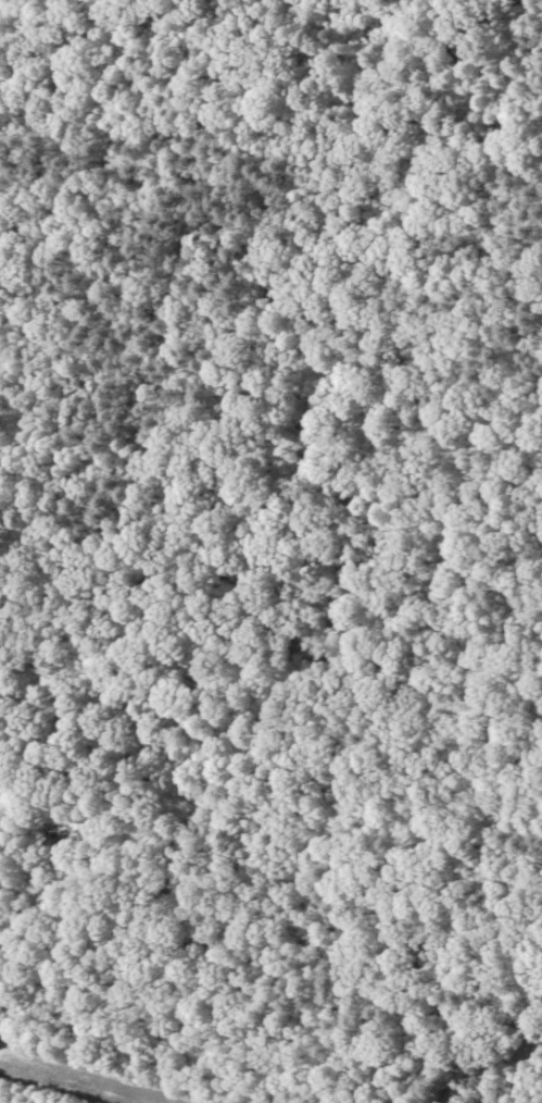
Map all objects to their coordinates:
road: (503, 1074)

